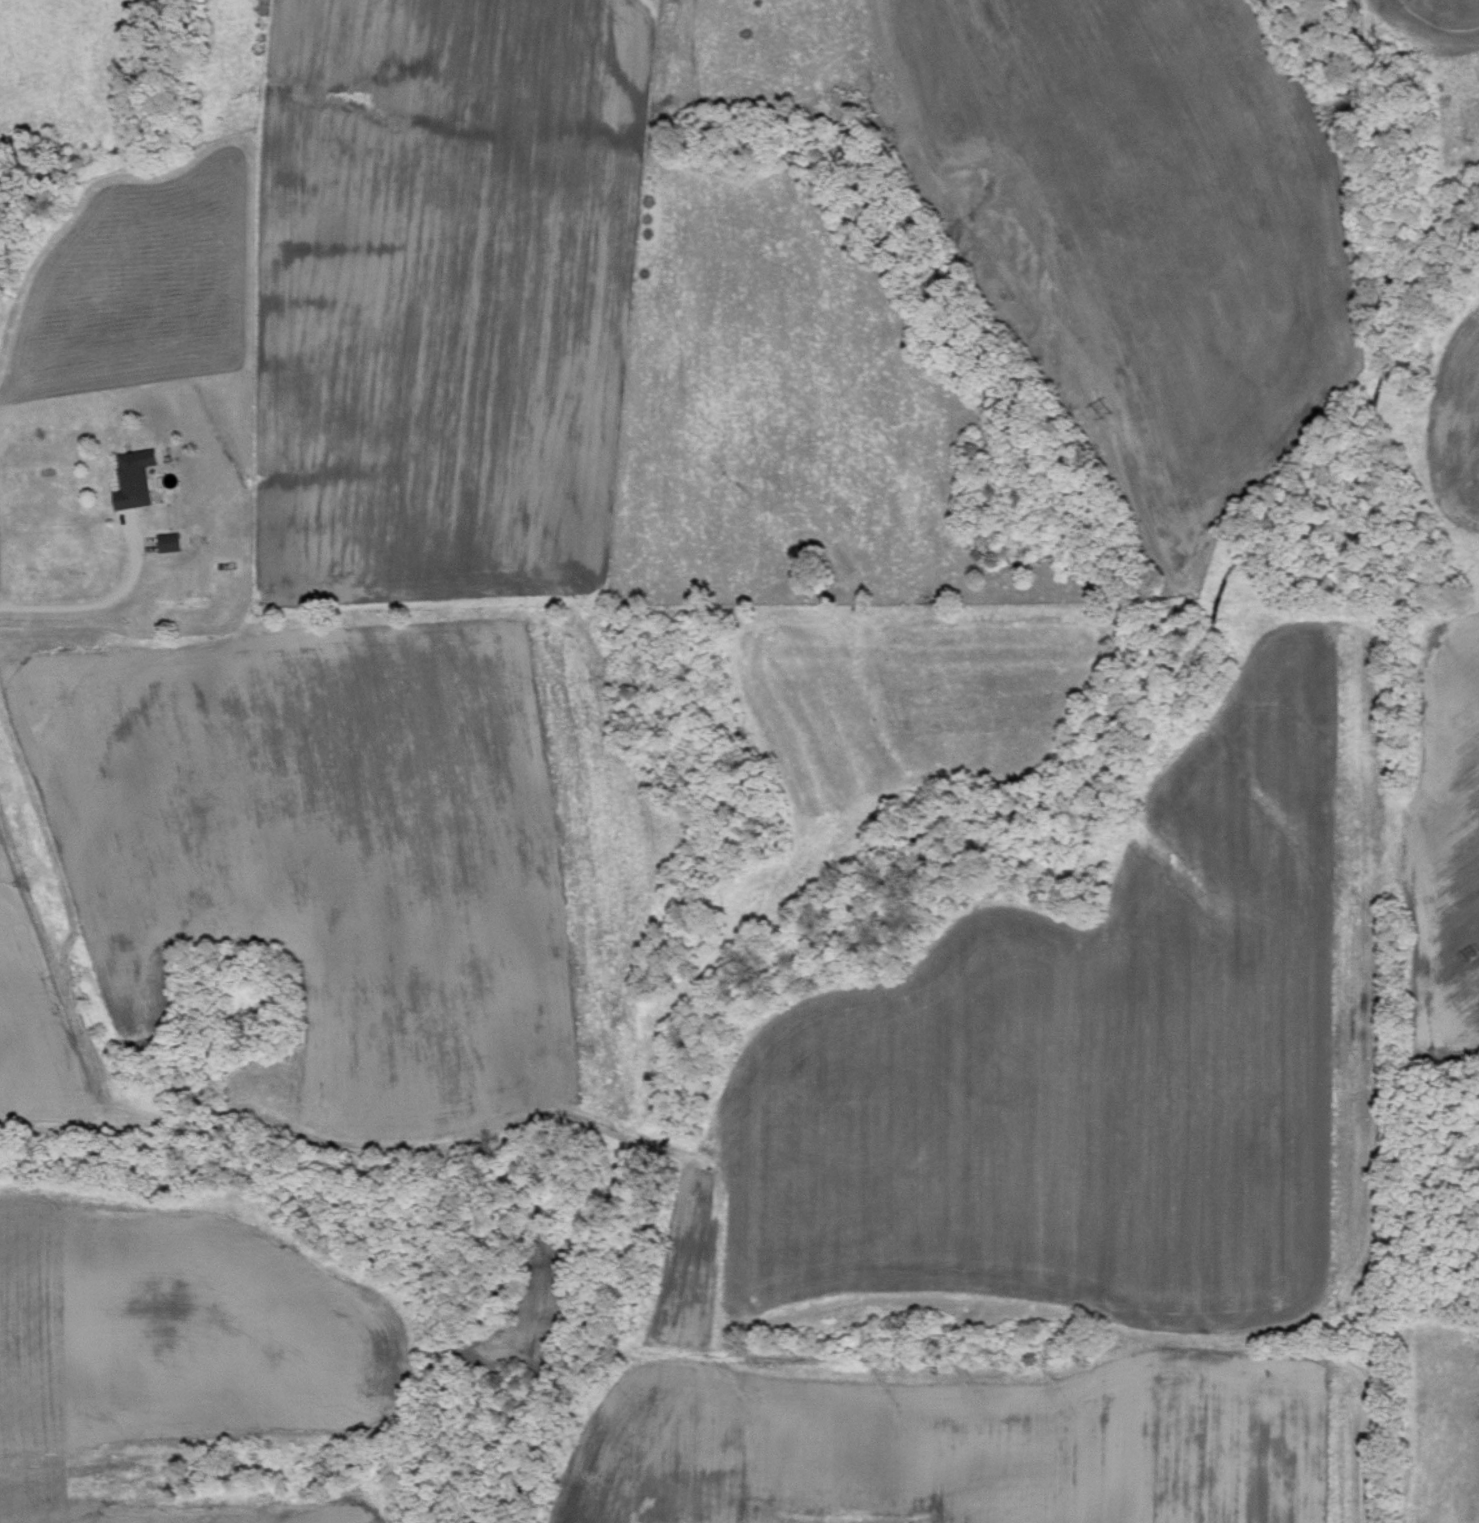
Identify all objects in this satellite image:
building: (133, 477)
building: (167, 541)
road: (101, 602)

